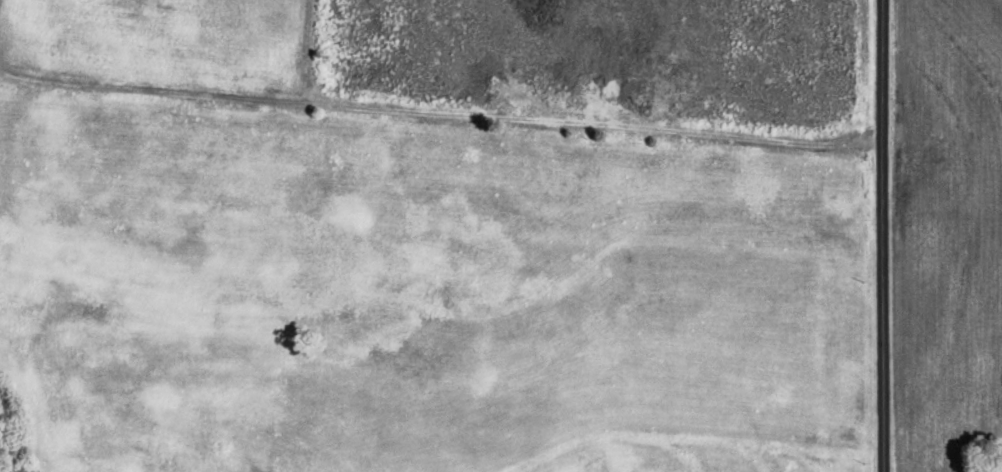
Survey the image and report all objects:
road: (885, 236)

